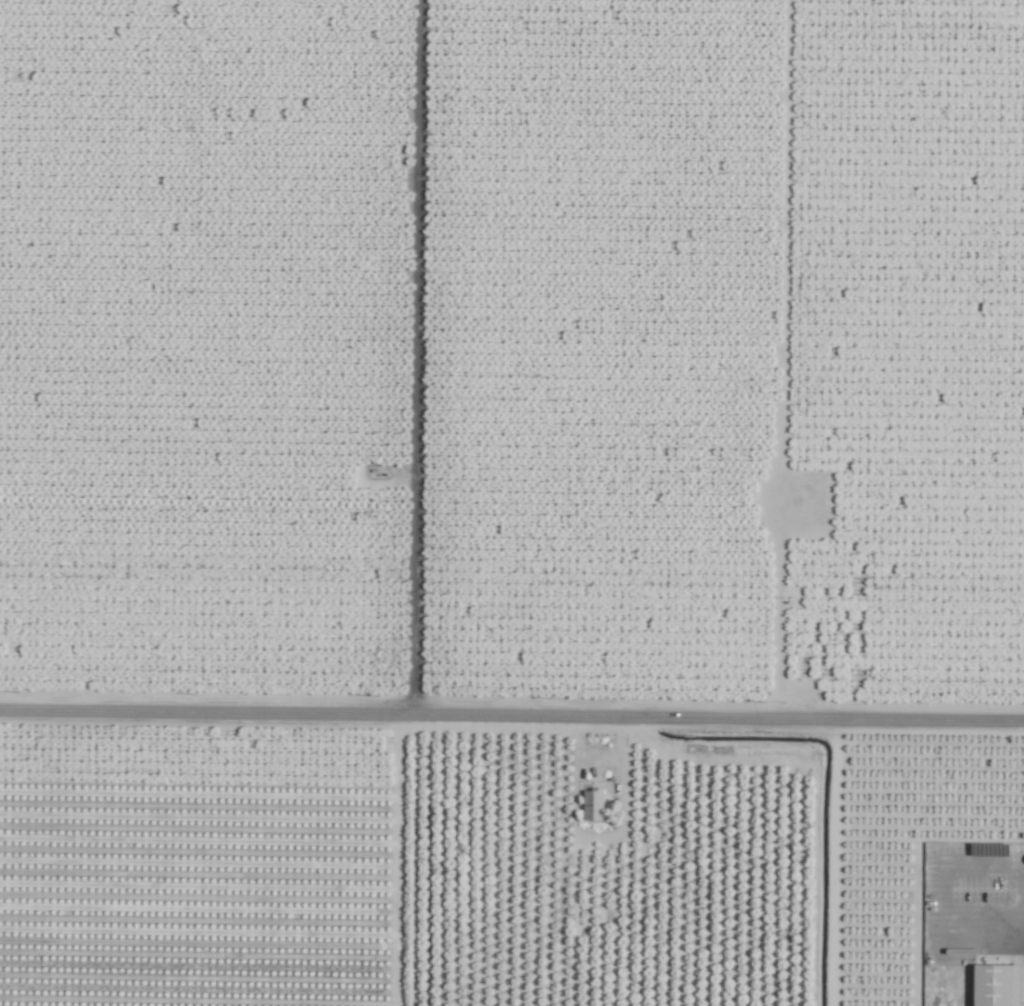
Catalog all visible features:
road: (778, 627)
road: (512, 715)
building: (592, 804)
building: (995, 985)

